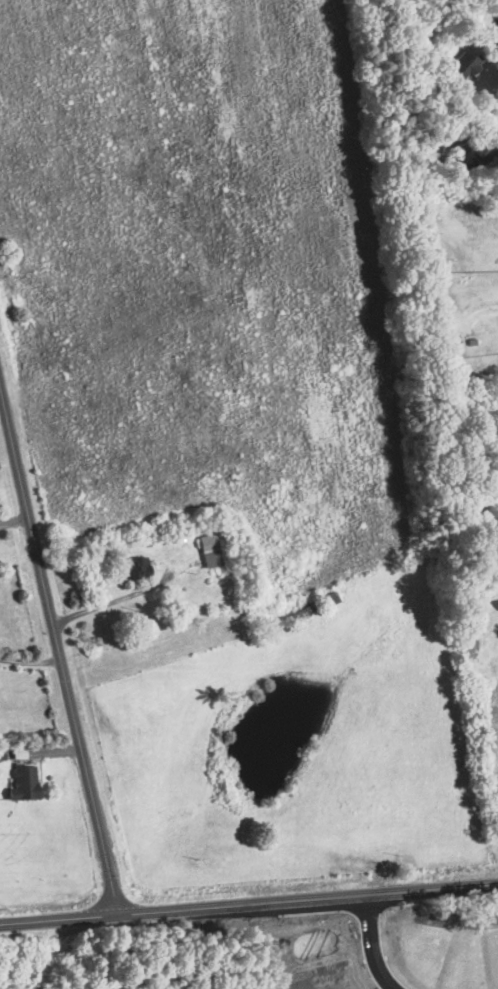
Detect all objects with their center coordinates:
building: (496, 15)
building: (474, 151)
building: (210, 549)
building: (137, 567)
road: (117, 598)
building: (315, 606)
road: (56, 650)
road: (28, 660)
building: (25, 783)
road: (307, 899)
road: (57, 917)
building: (430, 941)
road: (385, 946)
building: (468, 972)
building: (349, 980)
park: (152, 984)

